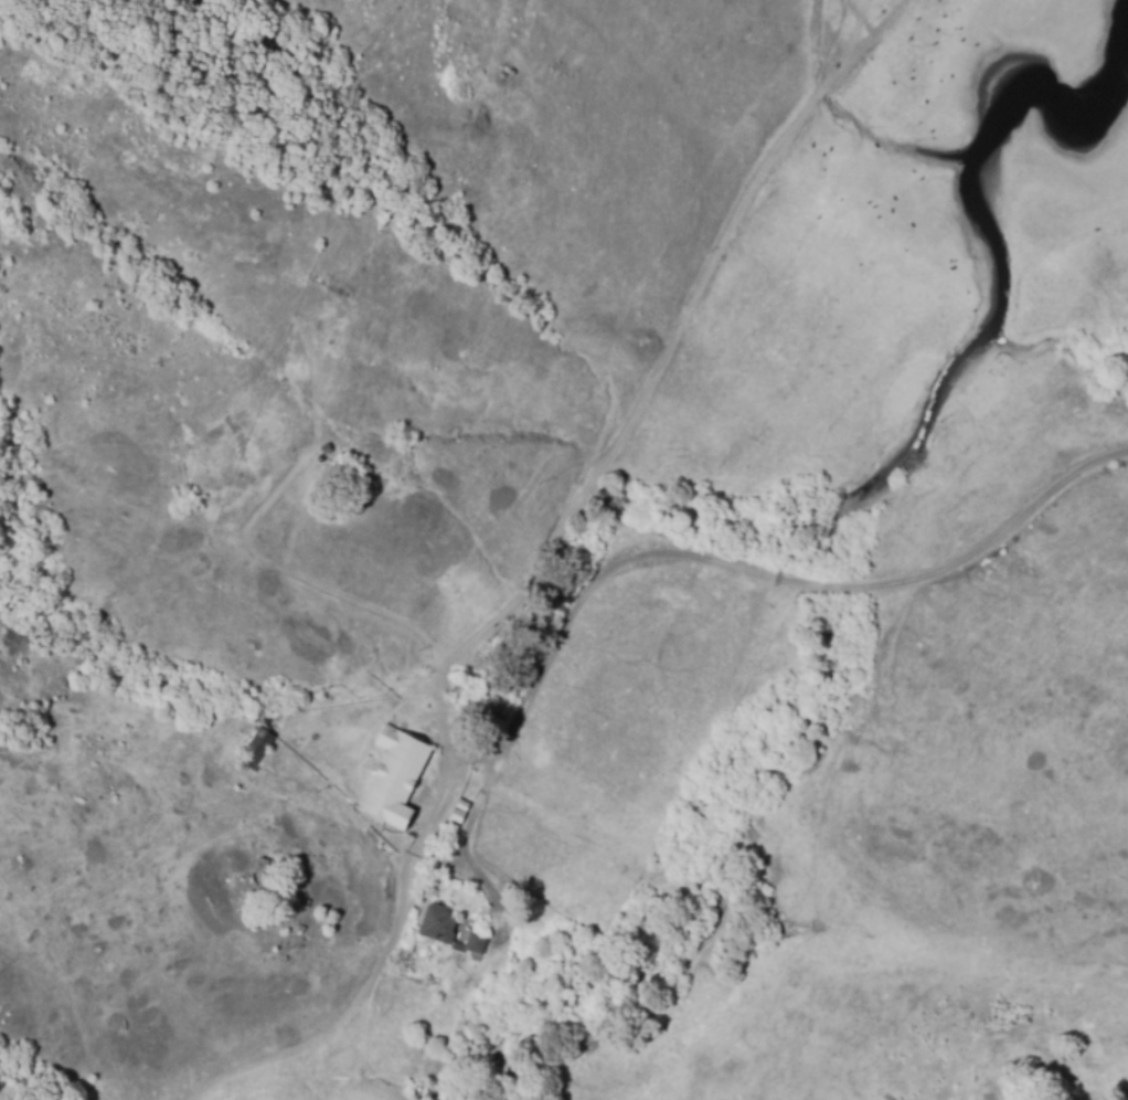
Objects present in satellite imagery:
road: (648, 387)
road: (755, 574)
building: (395, 783)
building: (459, 815)
building: (438, 929)
road: (394, 932)
building: (475, 946)

